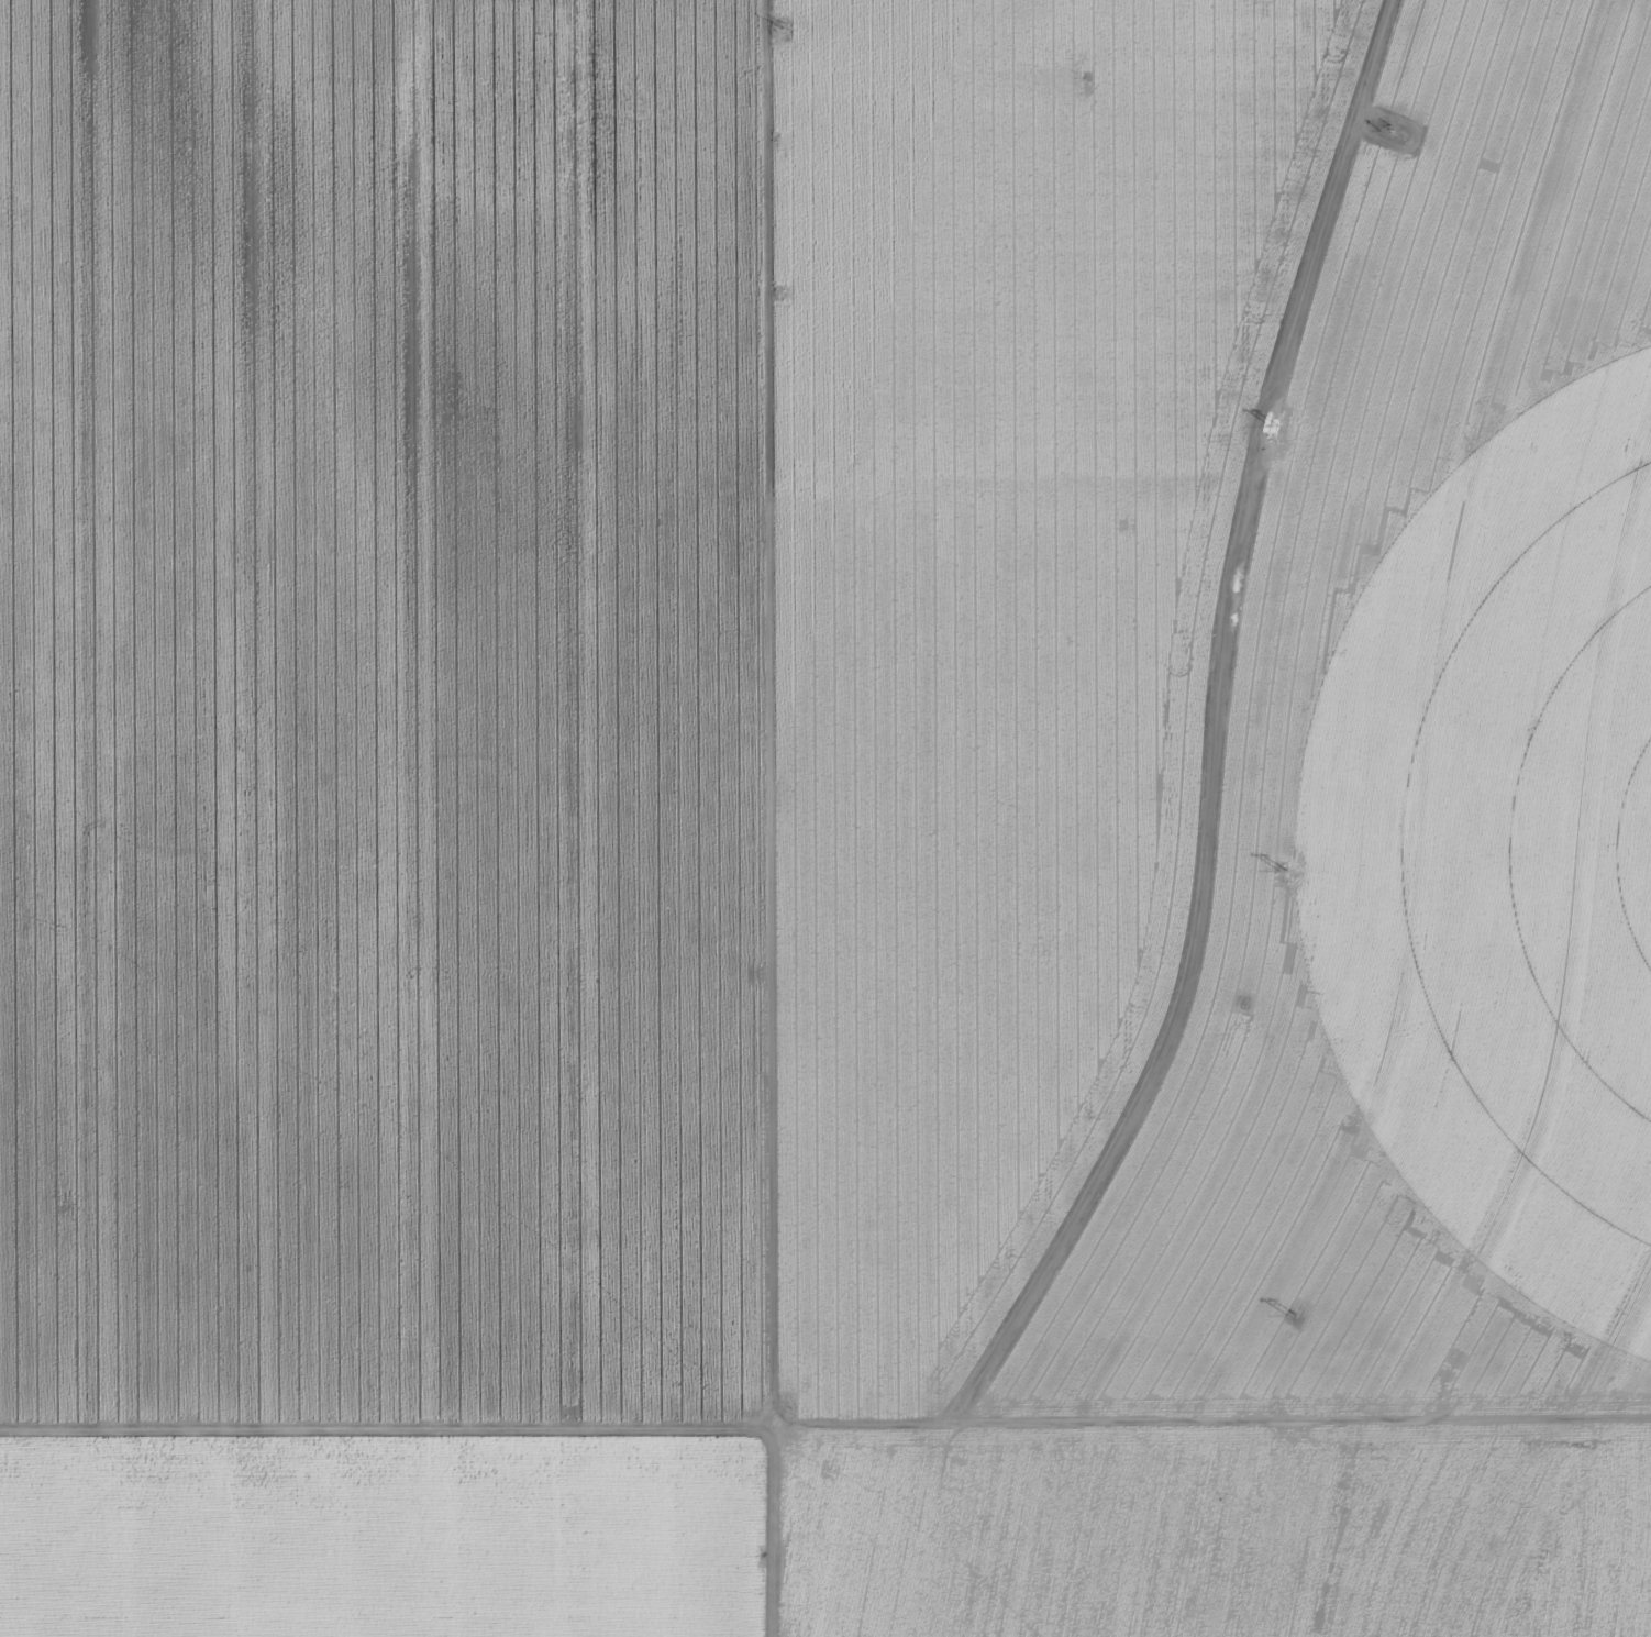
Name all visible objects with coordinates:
power tower: (1278, 422)
power tower: (1288, 866)
power tower: (1296, 1313)

